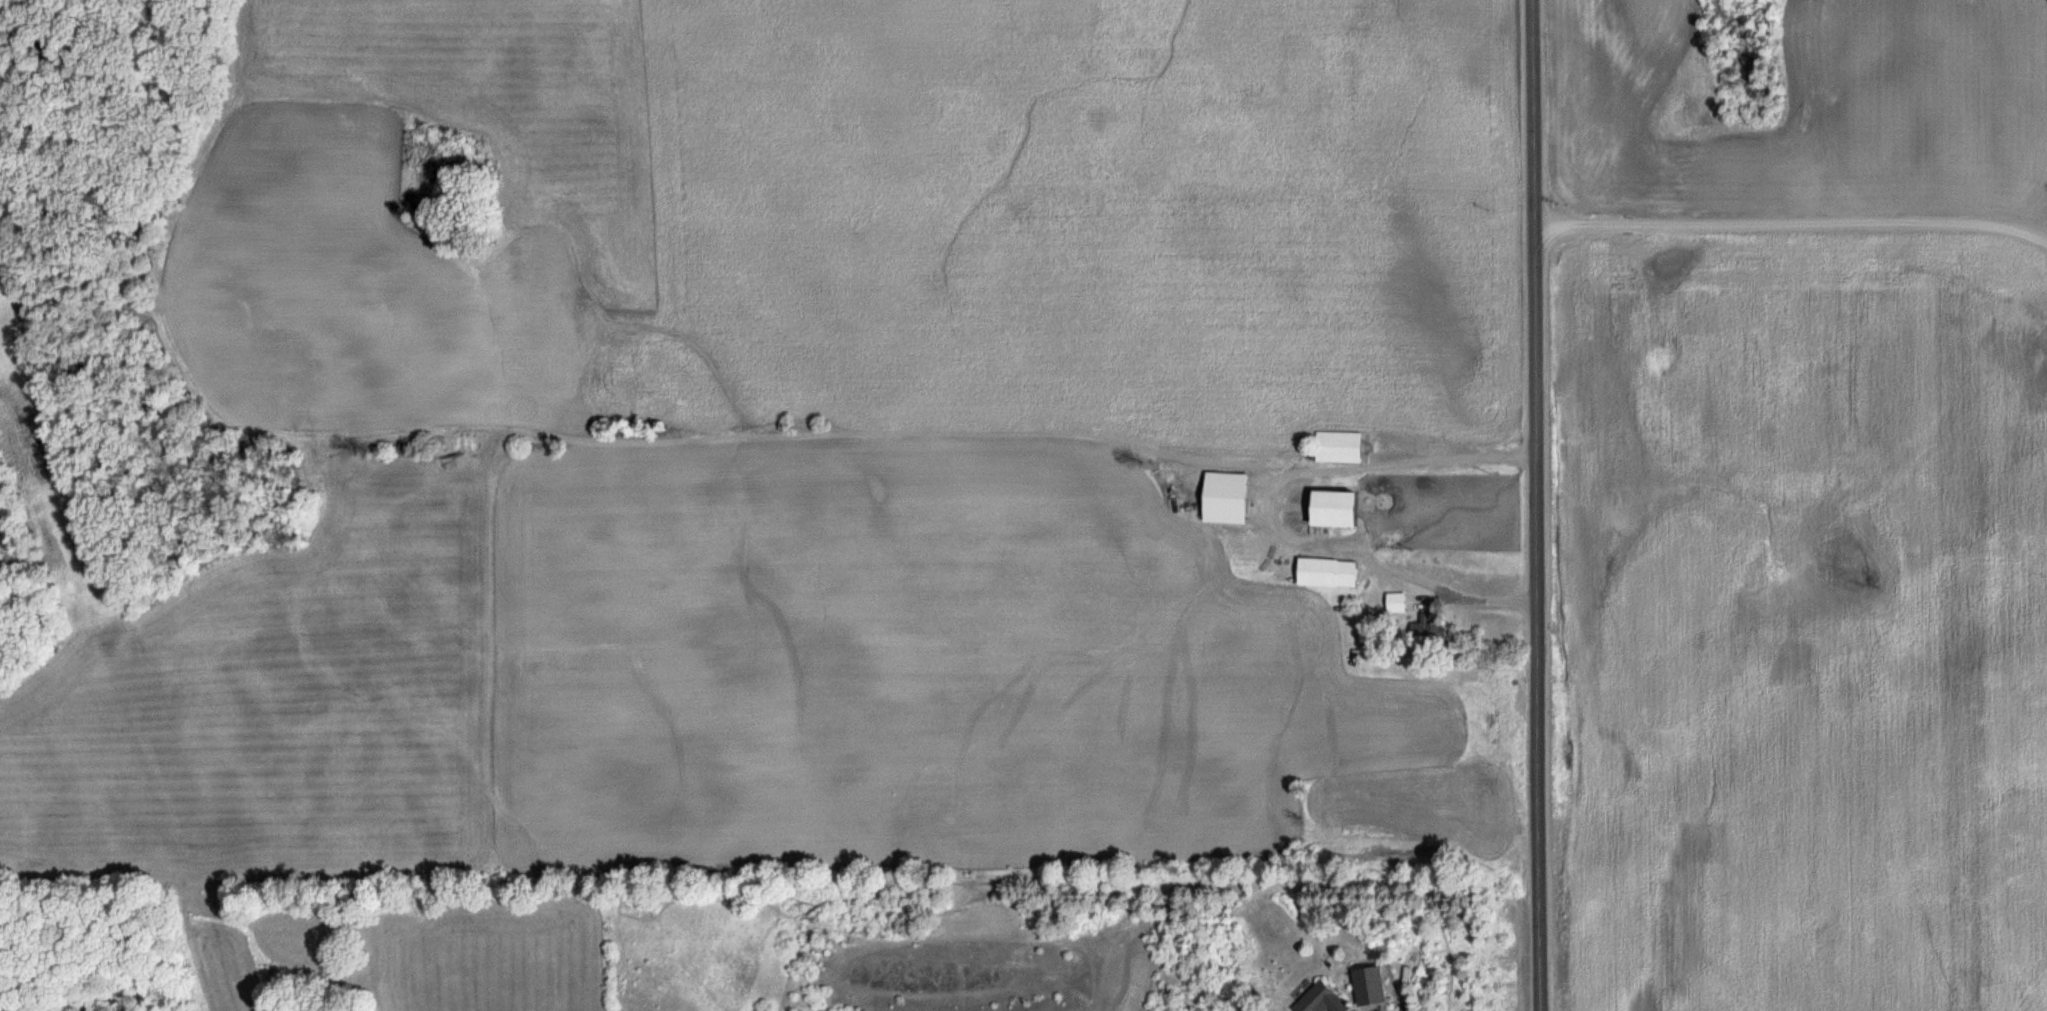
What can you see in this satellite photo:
building: (1339, 448)
road: (1533, 505)
building: (1338, 510)
building: (1321, 574)
building: (1397, 603)
building: (1430, 636)
building: (1371, 987)
building: (1322, 1000)

